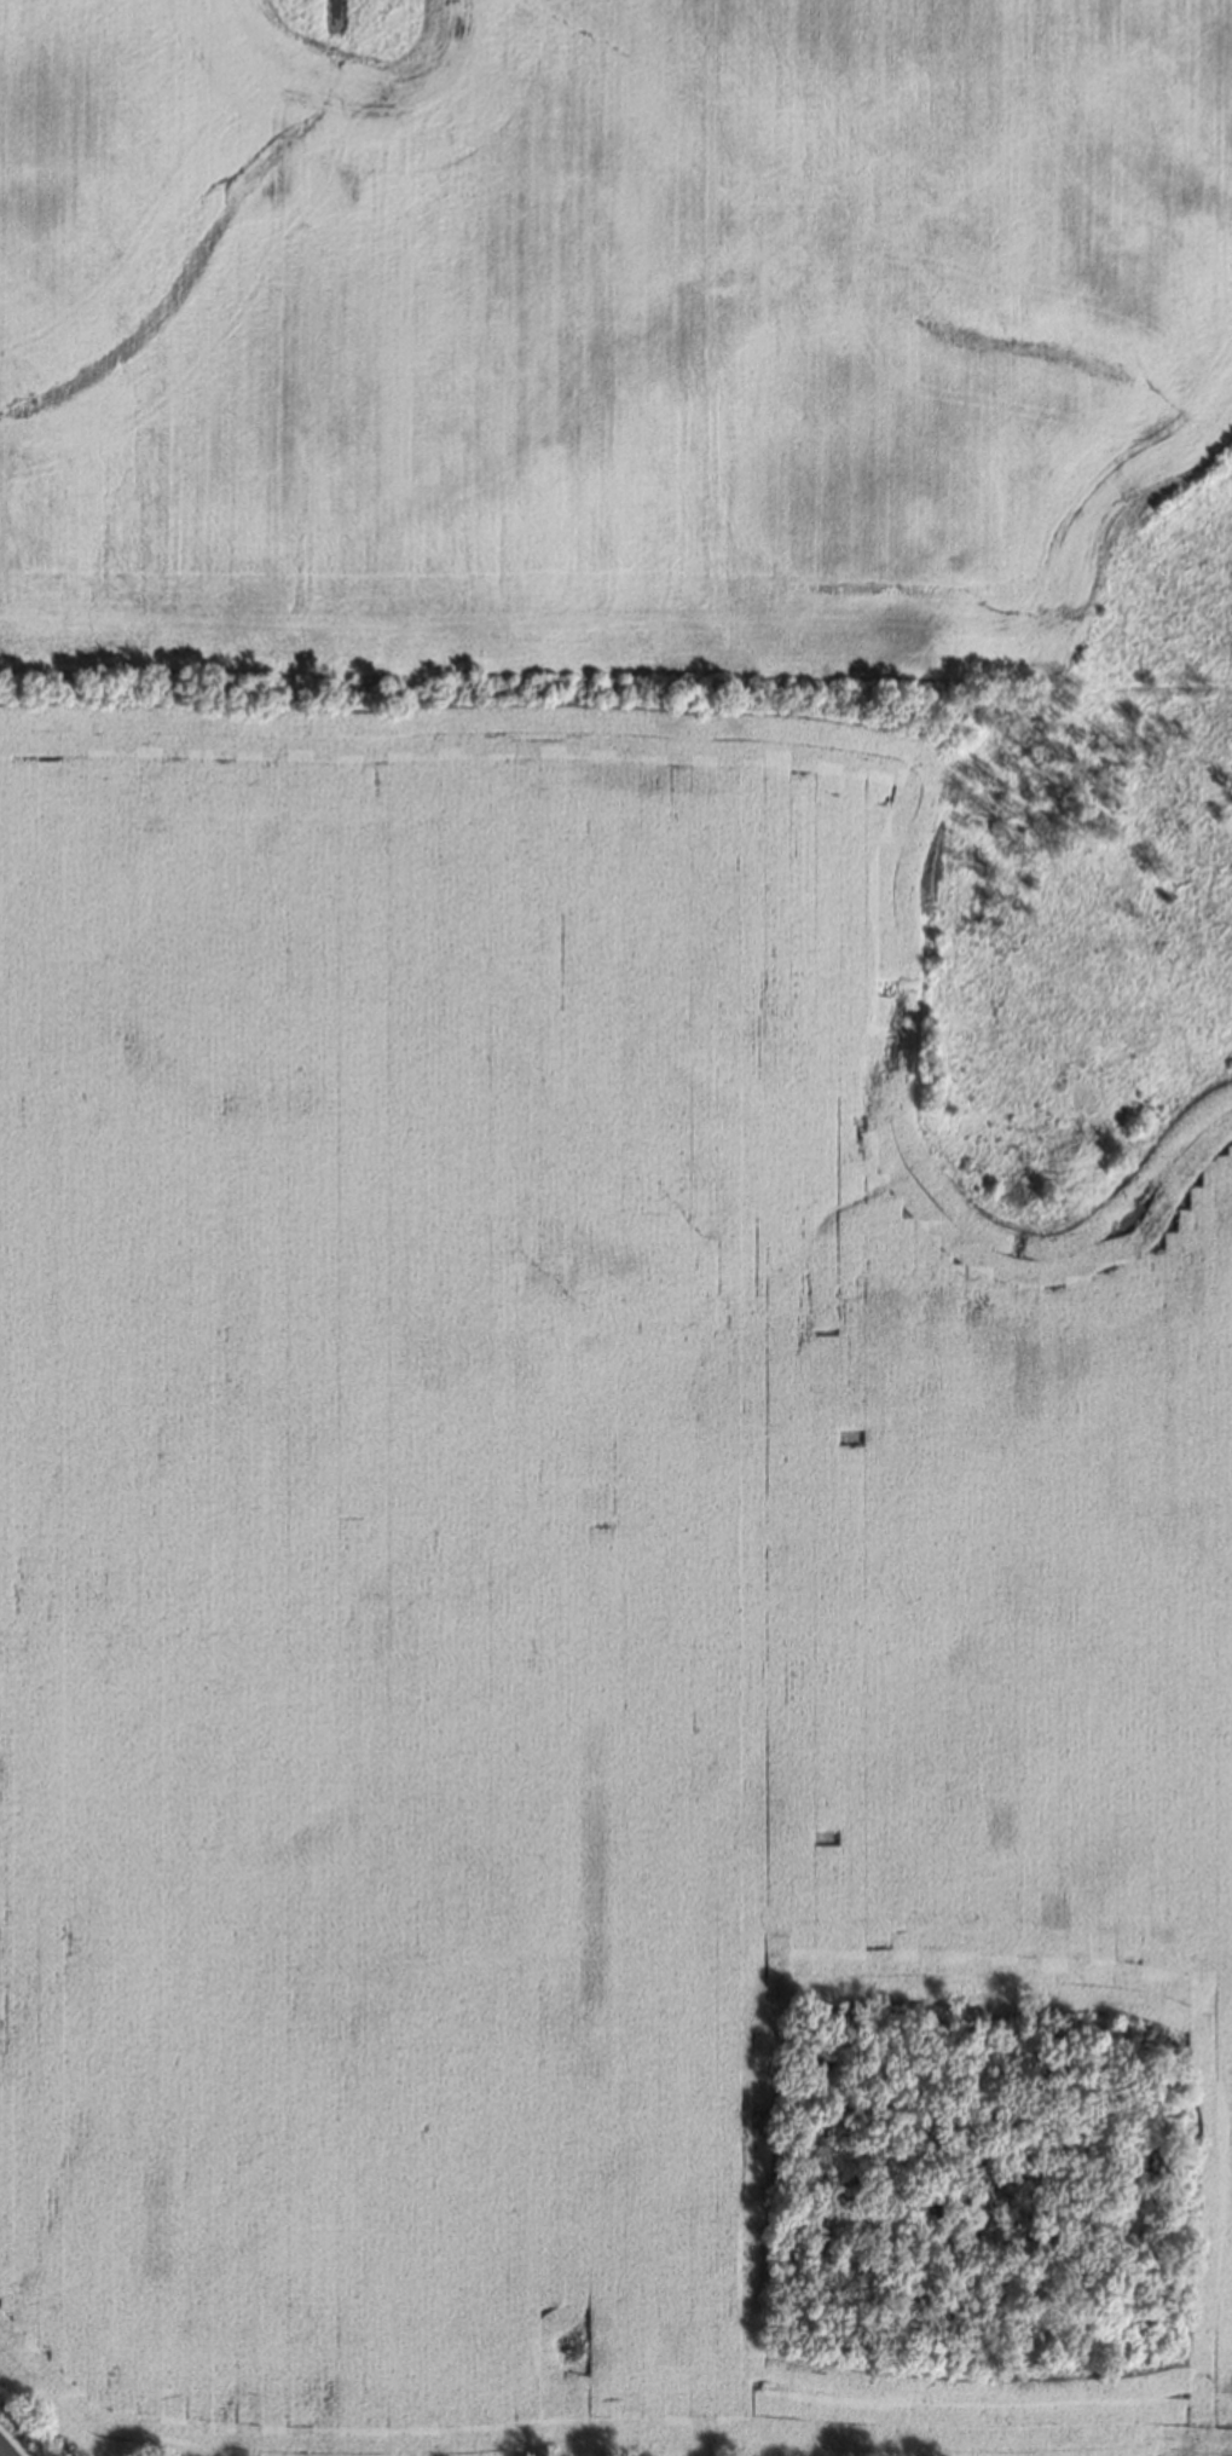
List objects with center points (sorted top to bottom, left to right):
road: (4, 2450)

